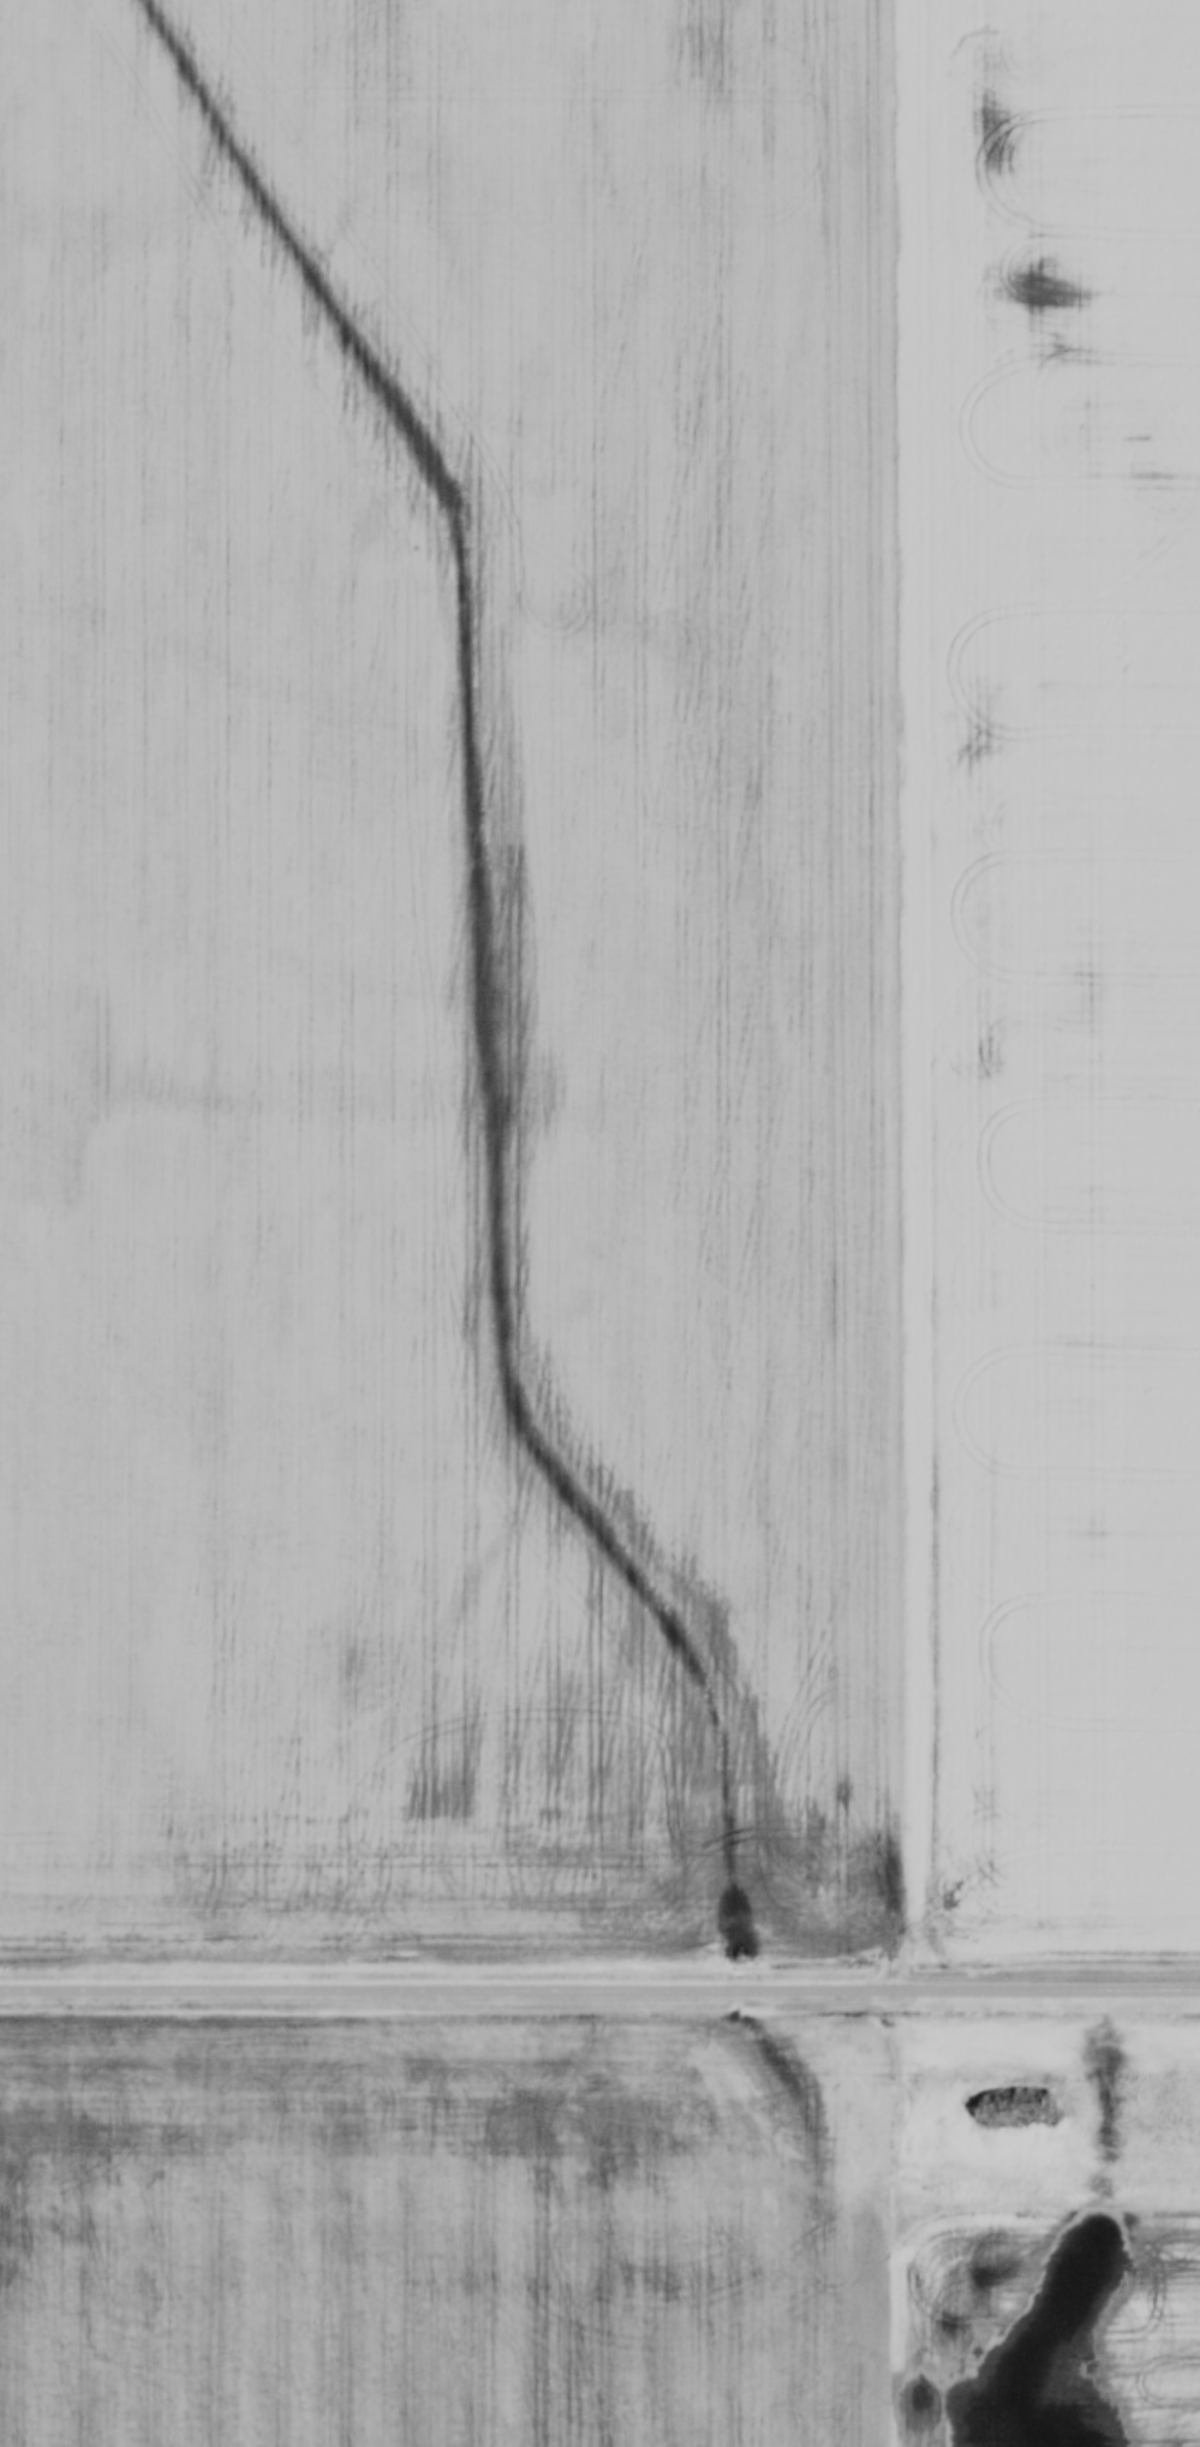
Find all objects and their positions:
road: (599, 1992)

